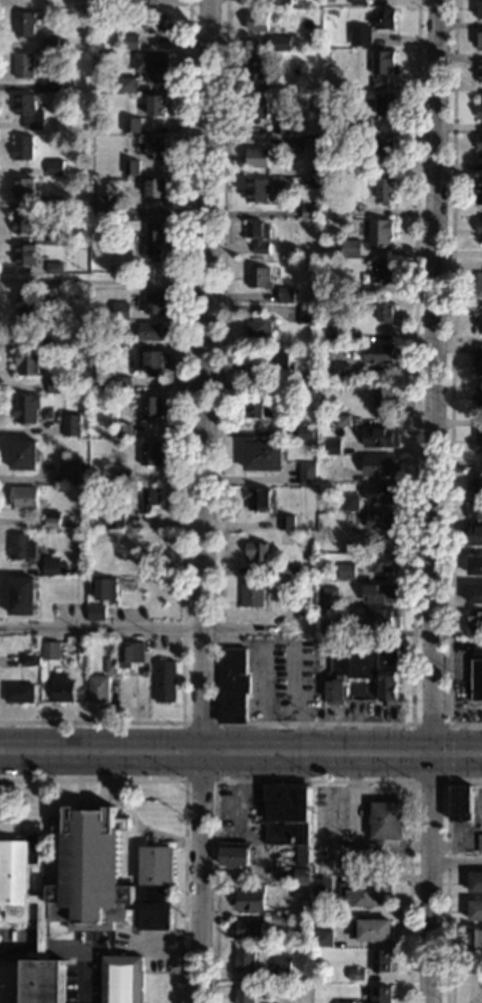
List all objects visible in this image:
building: (147, 2)
building: (359, 2)
building: (55, 4)
building: (284, 4)
building: (480, 9)
building: (386, 17)
building: (258, 21)
building: (155, 23)
building: (23, 24)
building: (361, 36)
building: (480, 40)
building: (130, 41)
building: (279, 42)
building: (49, 43)
building: (23, 65)
building: (151, 66)
building: (257, 66)
building: (382, 66)
building: (479, 71)
building: (127, 84)
building: (52, 86)
building: (114, 87)
building: (314, 99)
building: (387, 104)
building: (156, 105)
building: (256, 108)
building: (27, 111)
building: (480, 111)
building: (363, 123)
building: (131, 125)
building: (281, 125)
building: (480, 143)
building: (296, 144)
building: (155, 147)
building: (386, 147)
building: (21, 148)
building: (258, 158)
building: (359, 165)
building: (54, 167)
building: (131, 167)
building: (313, 171)
building: (289, 180)
building: (311, 183)
building: (22, 188)
building: (155, 188)
building: (386, 189)
building: (257, 190)
building: (479, 190)
building: (49, 204)
building: (99, 207)
building: (341, 210)
building: (309, 211)
building: (22, 223)
building: (479, 228)
building: (381, 232)
building: (258, 235)
building: (49, 237)
building: (155, 240)
building: (84, 247)
building: (351, 248)
building: (23, 254)
building: (304, 257)
building: (53, 268)
building: (383, 272)
building: (259, 277)
road: (93, 281)
building: (479, 284)
building: (354, 291)
building: (286, 295)
building: (152, 302)
building: (29, 307)
building: (121, 311)
building: (385, 311)
building: (307, 314)
building: (478, 317)
building: (151, 331)
building: (258, 331)
building: (330, 333)
building: (52, 337)
building: (121, 342)
building: (381, 353)
building: (478, 360)
building: (27, 361)
building: (150, 361)
building: (282, 361)
building: (293, 366)
building: (343, 369)
road: (452, 378)
building: (70, 383)
building: (304, 383)
building: (55, 385)
building: (124, 385)
building: (479, 397)
building: (58, 398)
building: (385, 398)
building: (152, 408)
building: (259, 408)
building: (25, 409)
building: (343, 420)
building: (71, 425)
building: (123, 430)
building: (308, 432)
building: (381, 437)
building: (478, 441)
building: (333, 444)
building: (151, 453)
road: (185, 453)
building: (23, 455)
building: (264, 457)
building: (381, 465)
building: (70, 472)
building: (308, 474)
building: (334, 475)
building: (125, 476)
building: (475, 482)
building: (384, 494)
building: (23, 498)
building: (151, 498)
building: (260, 498)
road: (204, 501)
road: (432, 501)
building: (350, 502)
building: (475, 509)
building: (51, 519)
building: (383, 520)
building: (113, 521)
building: (287, 522)
building: (473, 535)
building: (149, 544)
building: (258, 551)
building: (34, 555)
building: (383, 562)
building: (475, 565)
building: (119, 567)
building: (293, 570)
building: (348, 572)
building: (105, 589)
building: (253, 592)
building: (381, 593)
building: (474, 593)
building: (21, 596)
building: (328, 597)
building: (96, 613)
building: (305, 614)
building: (381, 618)
building: (476, 620)
road: (138, 629)
building: (333, 629)
building: (50, 651)
building: (130, 653)
building: (29, 660)
building: (111, 666)
building: (363, 669)
building: (144, 672)
building: (477, 676)
building: (165, 681)
building: (233, 686)
building: (62, 689)
building: (98, 689)
building: (19, 693)
road: (214, 723)
road: (314, 723)
road: (241, 741)
road: (414, 753)
road: (449, 753)
road: (240, 762)
road: (313, 783)
road: (80, 788)
road: (103, 788)
road: (72, 796)
road: (185, 799)
building: (461, 804)
building: (287, 813)
building: (389, 820)
building: (257, 822)
road: (167, 835)
building: (479, 843)
road: (133, 852)
building: (234, 855)
building: (303, 856)
road: (45, 858)
road: (455, 862)
building: (302, 875)
road: (447, 876)
building: (476, 882)
building: (323, 887)
building: (81, 890)
building: (303, 892)
building: (364, 894)
building: (249, 900)
building: (309, 904)
building: (476, 910)
building: (281, 919)
building: (248, 929)
building: (371, 929)
building: (475, 937)
building: (324, 938)
road: (20, 948)
road: (43, 949)
road: (75, 950)
road: (167, 952)
building: (245, 958)
building: (382, 961)
building: (282, 968)
building: (357, 974)
building: (123, 979)
park: (460, 986)
building: (245, 994)
building: (382, 995)
building: (345, 1002)

